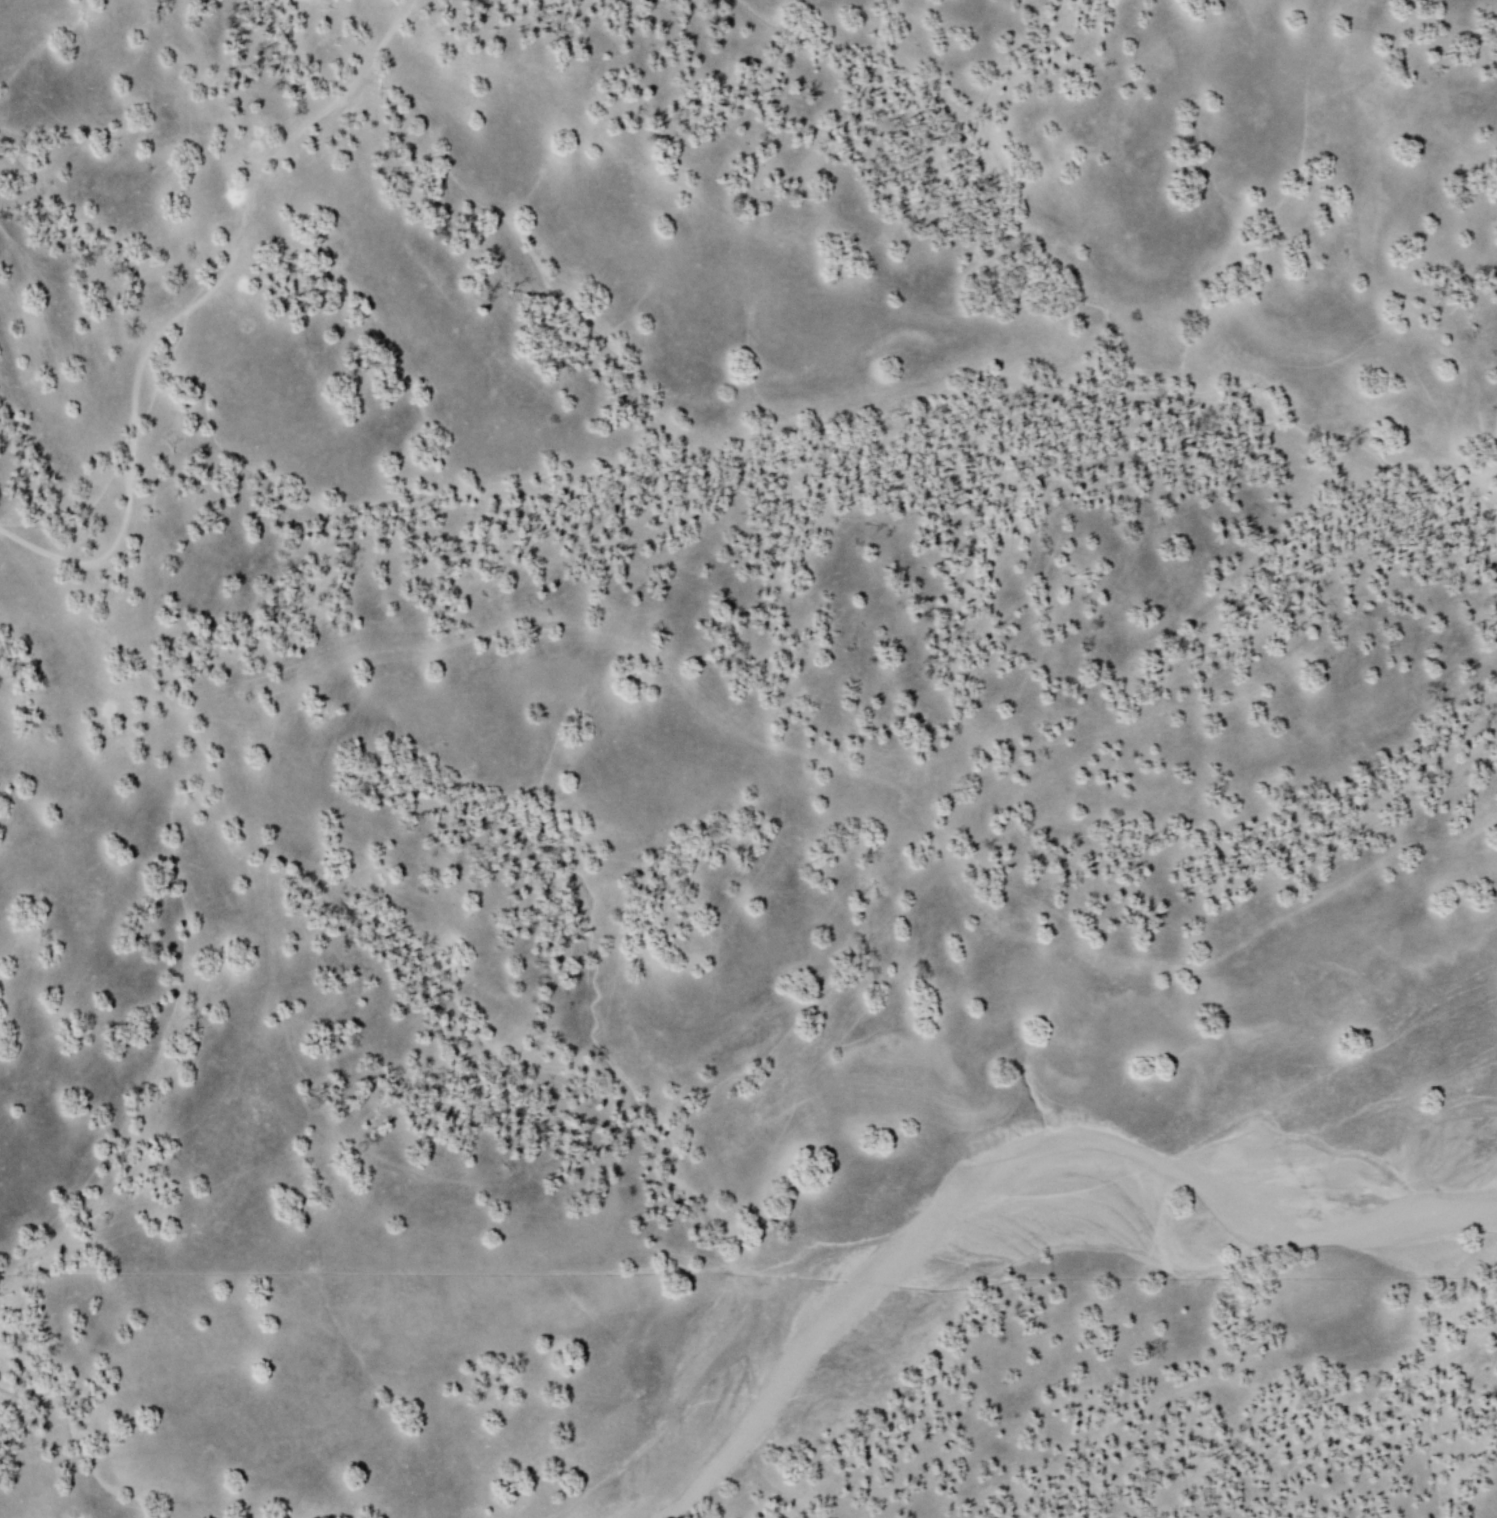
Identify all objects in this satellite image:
road: (188, 308)
river: (1015, 1152)

